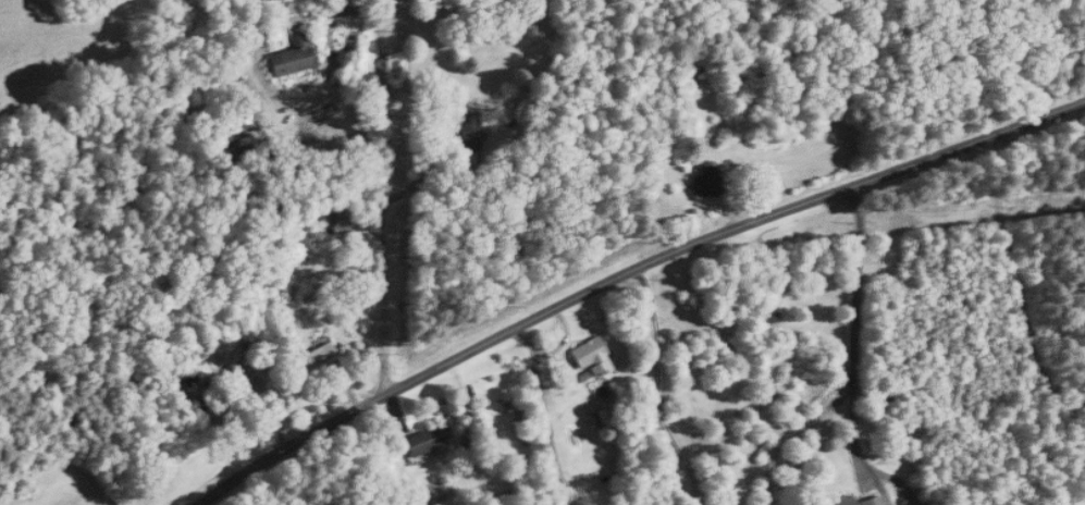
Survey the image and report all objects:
building: (294, 57)
building: (470, 128)
building: (706, 185)
road: (386, 197)
building: (341, 223)
road: (624, 270)
road: (1016, 286)
road: (859, 327)
building: (592, 356)
building: (316, 358)
road: (655, 387)
building: (235, 397)
road: (543, 412)
building: (424, 442)
building: (842, 501)
building: (872, 501)

